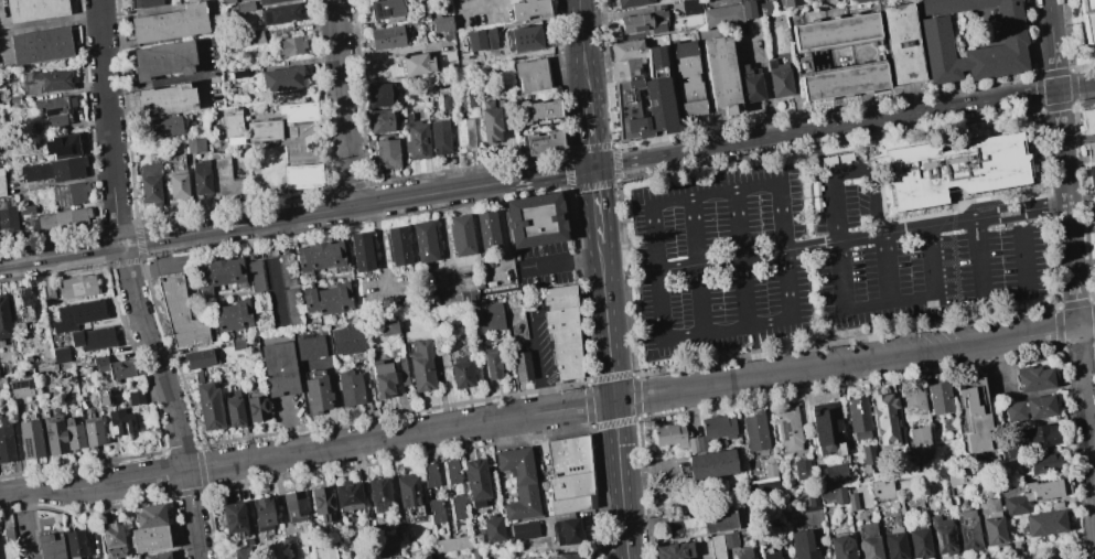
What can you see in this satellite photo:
building: (376, 0)
building: (471, 0)
building: (857, 0)
building: (267, 1)
building: (143, 2)
building: (633, 2)
building: (796, 4)
building: (694, 8)
building: (34, 9)
rooftop solar panel: (377, 9)
building: (439, 10)
building: (533, 10)
rooftop solar panel: (385, 12)
building: (770, 12)
building: (754, 13)
building: (279, 14)
building: (394, 14)
building: (1091, 18)
building: (656, 19)
building: (727, 19)
road: (50, 21)
building: (170, 23)
building: (445, 29)
building: (840, 33)
building: (254, 36)
building: (530, 40)
building: (482, 41)
road: (2, 42)
building: (396, 42)
building: (908, 43)
building: (40, 44)
road: (582, 44)
building: (1013, 44)
road: (1052, 44)
building: (289, 45)
building: (655, 56)
building: (162, 58)
building: (632, 58)
building: (450, 66)
building: (421, 67)
road: (201, 68)
building: (727, 76)
building: (280, 78)
building: (629, 78)
building: (538, 80)
building: (850, 80)
building: (45, 82)
building: (784, 82)
building: (694, 83)
road: (153, 84)
building: (755, 84)
road: (1076, 86)
building: (509, 92)
building: (165, 100)
building: (384, 100)
building: (475, 103)
road: (342, 104)
building: (449, 105)
building: (55, 108)
building: (299, 110)
building: (539, 112)
rooftop solar panel: (50, 114)
building: (1087, 119)
building: (380, 121)
building: (232, 125)
building: (163, 127)
building: (389, 127)
building: (496, 127)
road: (590, 128)
road: (825, 128)
building: (262, 129)
building: (468, 138)
building: (445, 141)
building: (544, 141)
building: (422, 142)
building: (193, 144)
building: (64, 146)
road: (1062, 147)
building: (1091, 150)
building: (391, 157)
traffic signals: (593, 168)
building: (54, 169)
building: (956, 169)
road: (848, 170)
building: (223, 175)
building: (1091, 175)
building: (302, 176)
building: (201, 178)
building: (149, 182)
building: (1, 183)
building: (178, 184)
building: (68, 194)
road: (597, 205)
building: (1093, 208)
building: (26, 209)
road: (297, 216)
building: (8, 218)
building: (58, 219)
building: (534, 219)
road: (975, 219)
road: (500, 228)
building: (486, 230)
building: (462, 235)
road: (860, 238)
road: (441, 239)
building: (425, 241)
building: (397, 245)
road: (379, 248)
building: (361, 251)
building: (320, 256)
road: (749, 256)
parking lot: (817, 257)
road: (587, 258)
road: (740, 259)
road: (548, 265)
road: (697, 266)
road: (1071, 266)
road: (887, 268)
building: (218, 275)
road: (130, 282)
building: (78, 286)
building: (49, 291)
building: (328, 299)
road: (996, 300)
road: (889, 302)
building: (291, 307)
building: (21, 309)
building: (176, 311)
building: (77, 314)
building: (232, 314)
building: (485, 318)
building: (3, 319)
road: (792, 324)
building: (387, 325)
road: (1085, 325)
rooftop solar panel: (60, 330)
building: (562, 330)
building: (92, 337)
road: (1077, 338)
building: (345, 340)
building: (310, 347)
road: (536, 352)
building: (61, 355)
building: (198, 358)
building: (491, 363)
building: (421, 365)
building: (520, 365)
building: (114, 367)
building: (278, 368)
building: (460, 372)
building: (382, 378)
building: (1032, 378)
rooftop solar panel: (26, 385)
rooftop solar panel: (15, 386)
building: (348, 387)
building: (20, 388)
building: (315, 394)
building: (136, 397)
building: (937, 397)
building: (101, 398)
road: (543, 398)
road: (613, 401)
building: (912, 401)
building: (208, 406)
building: (256, 406)
building: (1028, 408)
building: (234, 409)
road: (538, 412)
building: (857, 413)
building: (973, 413)
building: (884, 419)
building: (120, 422)
building: (826, 428)
building: (716, 429)
rooftop solar panel: (784, 429)
building: (787, 429)
building: (92, 431)
building: (754, 431)
building: (54, 434)
building: (73, 437)
building: (673, 437)
building: (1040, 437)
building: (30, 438)
building: (6, 441)
building: (917, 441)
road: (1086, 441)
rooftop solar panel: (26, 450)
building: (867, 452)
building: (1007, 453)
building: (1043, 462)
building: (710, 463)
building: (770, 470)
building: (802, 470)
building: (451, 471)
building: (568, 473)
building: (835, 474)
building: (429, 475)
building: (955, 476)
building: (1003, 481)
building: (475, 482)
building: (519, 482)
building: (762, 487)
building: (408, 490)
building: (881, 490)
building: (833, 493)
building: (378, 494)
building: (347, 495)
building: (1031, 495)
building: (813, 498)
building: (851, 501)
building: (322, 503)
building: (293, 506)
building: (457, 507)
building: (434, 510)
building: (261, 513)
building: (150, 515)
building: (232, 518)
building: (990, 522)
building: (1044, 523)
building: (700, 524)
road: (24, 527)
building: (492, 528)
building: (524, 529)
building: (967, 529)
building: (569, 530)
building: (8, 534)
building: (942, 535)
building: (149, 538)
rooftop solar panel: (949, 539)
building: (96, 540)
building: (111, 540)
building: (729, 540)
building: (868, 541)
building: (919, 541)
rooftop solar panel: (938, 541)
building: (74, 542)
building: (452, 544)
building: (894, 544)
building: (803, 545)
building: (50, 546)
building: (716, 547)
building: (840, 547)
building: (385, 548)
building: (674, 550)
building: (476, 551)
building: (243, 552)
building: (323, 552)
building: (742, 553)
building: (770, 555)
building: (157, 556)
building: (566, 556)
building: (535, 558)

